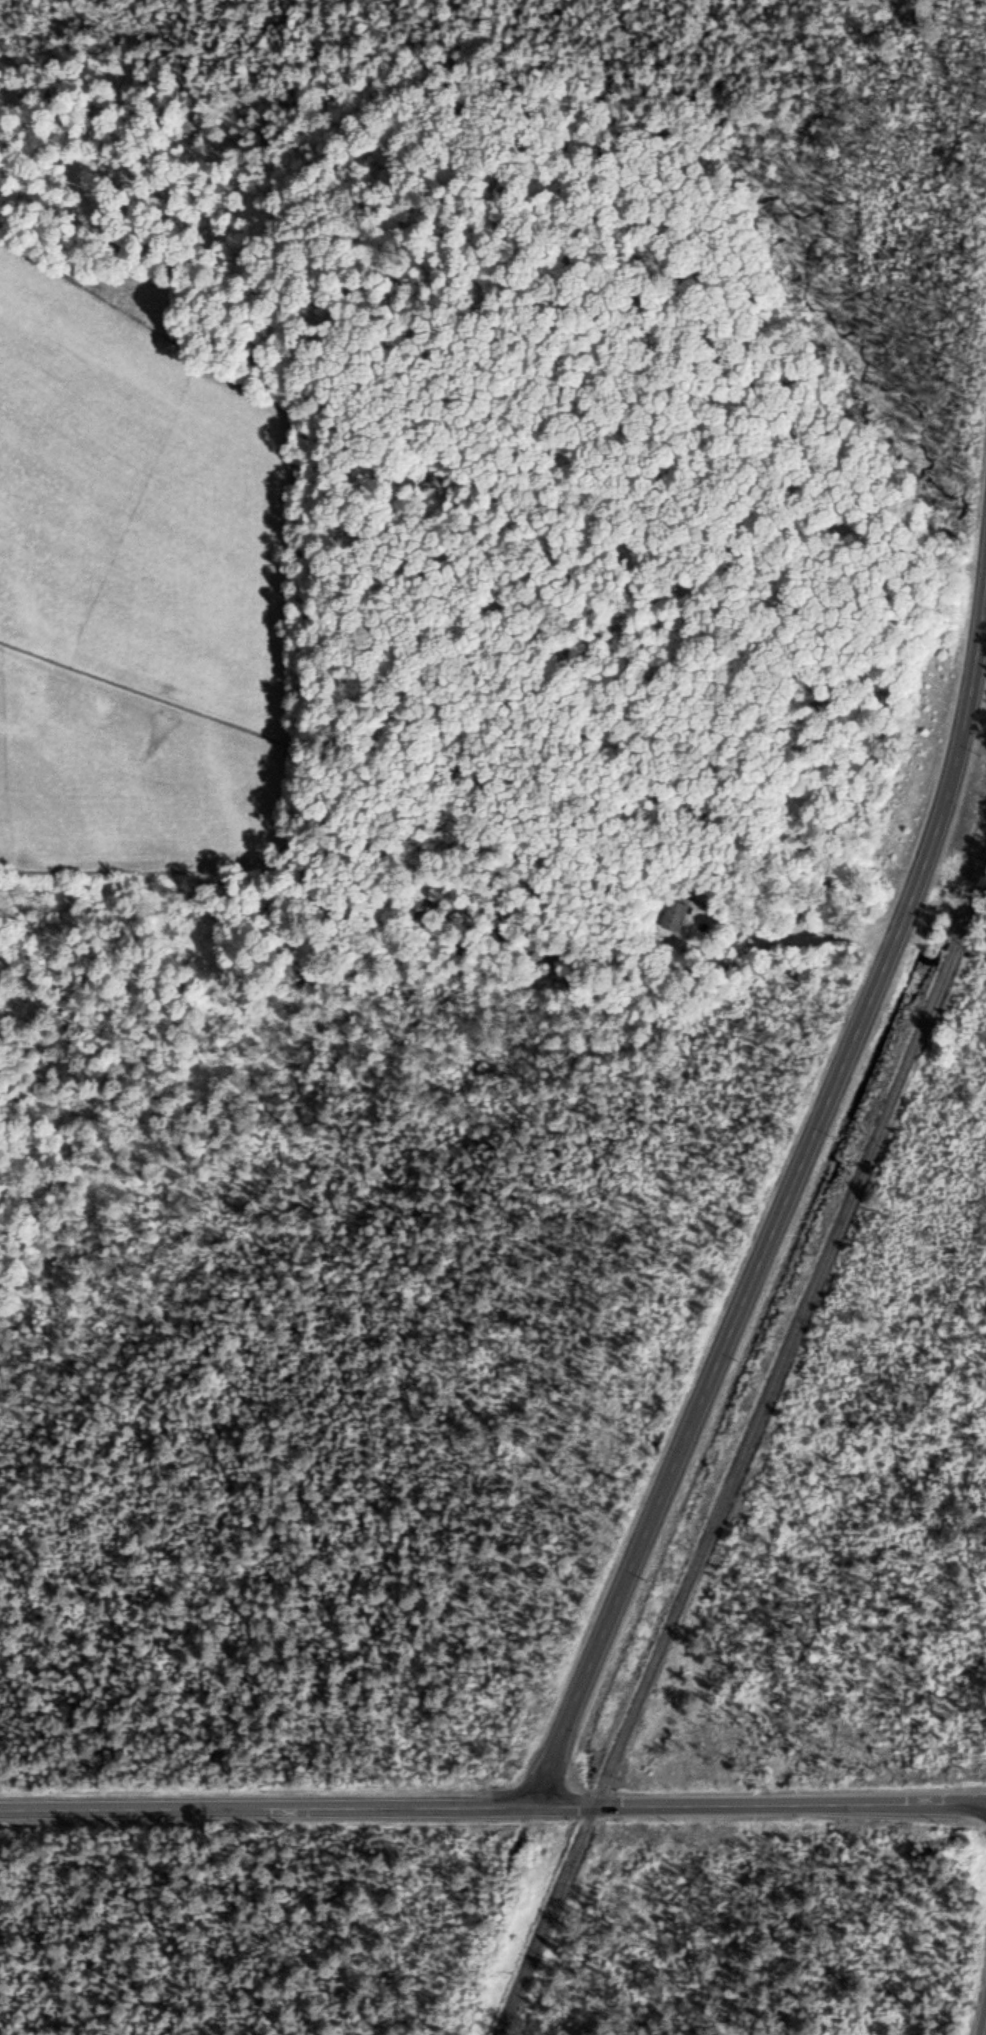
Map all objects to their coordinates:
building: (675, 914)
road: (780, 1207)
railway: (792, 1332)
road: (758, 1802)
road: (266, 1806)
railway: (546, 1919)
road: (983, 2025)

